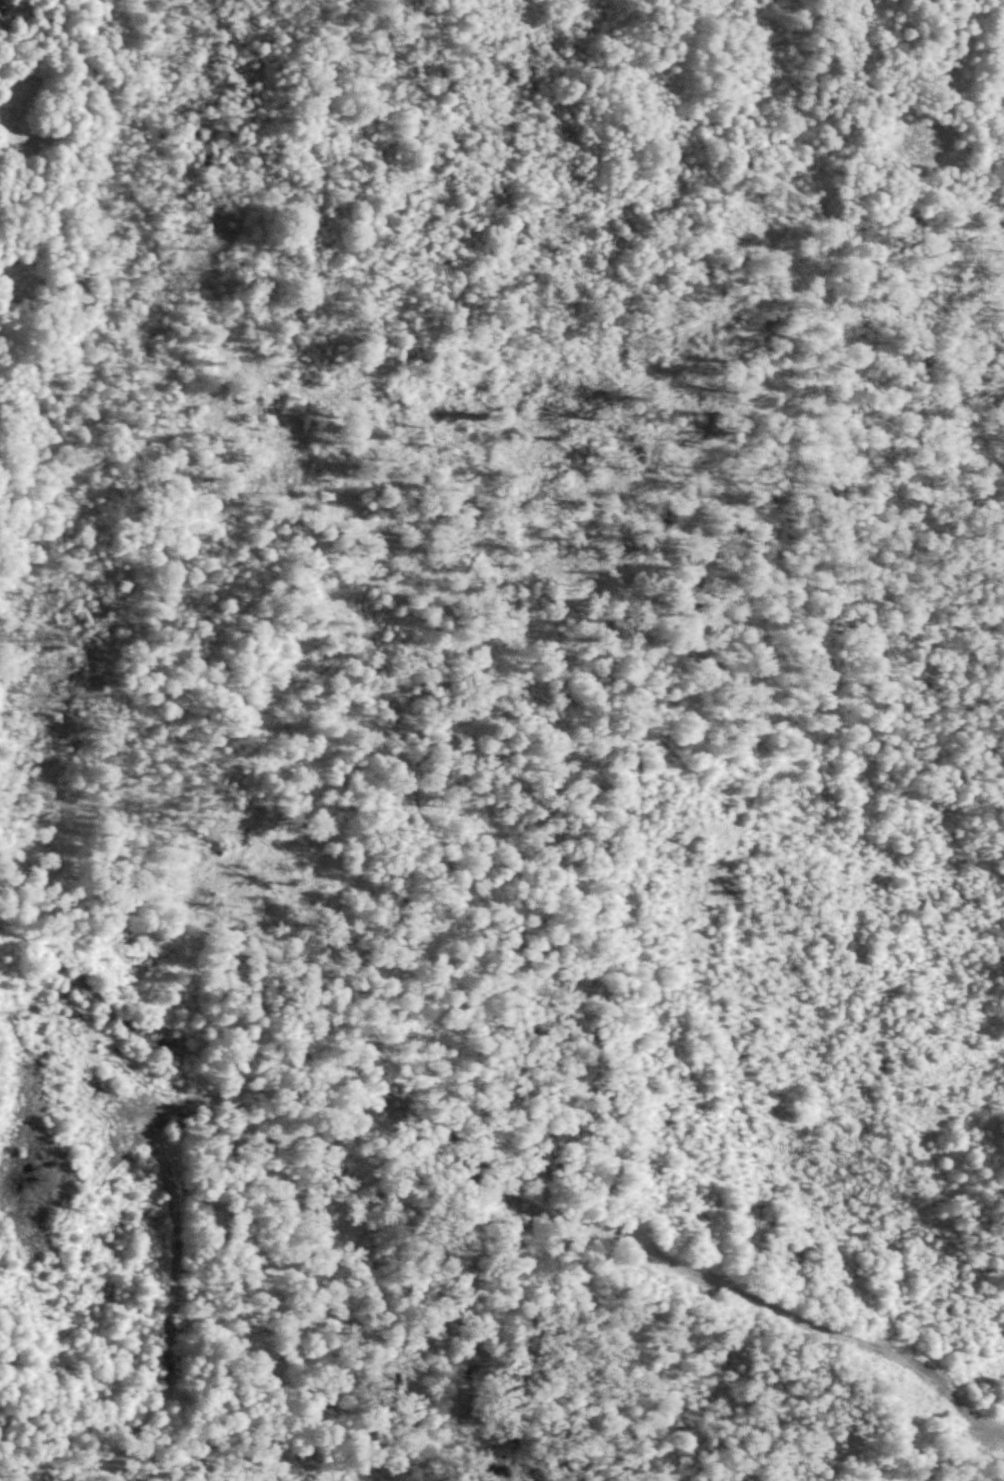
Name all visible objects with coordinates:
road: (818, 477)

